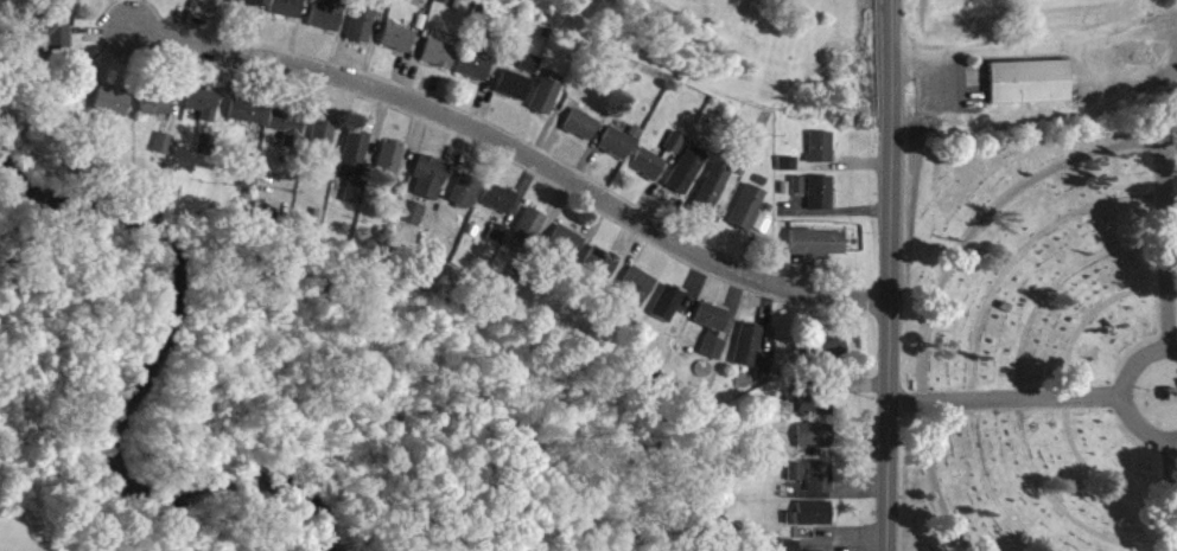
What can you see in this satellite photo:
building: (214, 1)
building: (74, 5)
building: (248, 8)
building: (288, 13)
building: (327, 21)
building: (361, 34)
road: (1033, 43)
building: (58, 45)
building: (399, 45)
building: (439, 63)
building: (529, 72)
building: (473, 76)
building: (1026, 79)
building: (514, 95)
building: (546, 105)
building: (113, 111)
building: (204, 111)
building: (157, 114)
building: (247, 121)
building: (288, 135)
building: (581, 135)
building: (323, 142)
building: (617, 153)
building: (675, 153)
building: (164, 154)
building: (205, 154)
building: (821, 156)
road: (498, 158)
building: (355, 162)
building: (390, 169)
building: (789, 173)
building: (648, 174)
building: (687, 180)
building: (431, 187)
building: (799, 196)
building: (712, 198)
building: (466, 200)
building: (355, 203)
building: (822, 203)
building: (500, 209)
building: (749, 217)
building: (412, 222)
building: (527, 239)
building: (567, 251)
building: (819, 254)
building: (602, 271)
road: (889, 275)
road: (940, 276)
building: (638, 293)
building: (667, 314)
park: (1044, 331)
building: (713, 340)
building: (749, 355)
building: (831, 358)
road: (1139, 363)
building: (765, 376)
road: (1006, 402)
building: (817, 411)
road: (1144, 428)
building: (815, 446)
building: (796, 481)
building: (821, 487)
road: (1173, 495)
building: (812, 524)
building: (793, 550)

